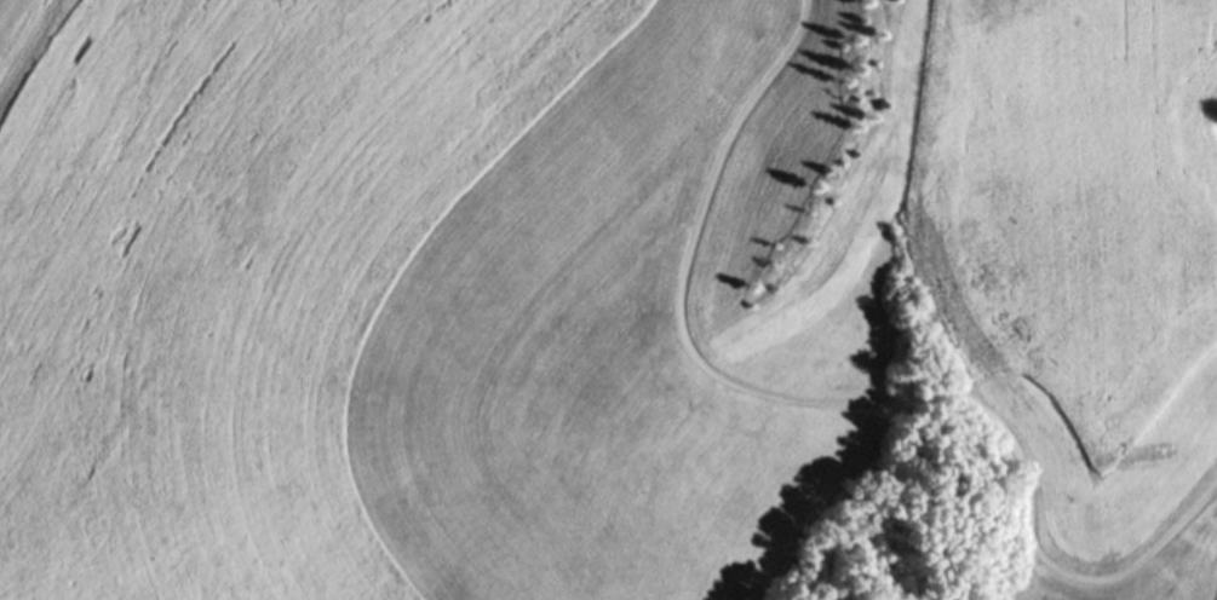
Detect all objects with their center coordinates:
road: (836, 392)
road: (1212, 576)

